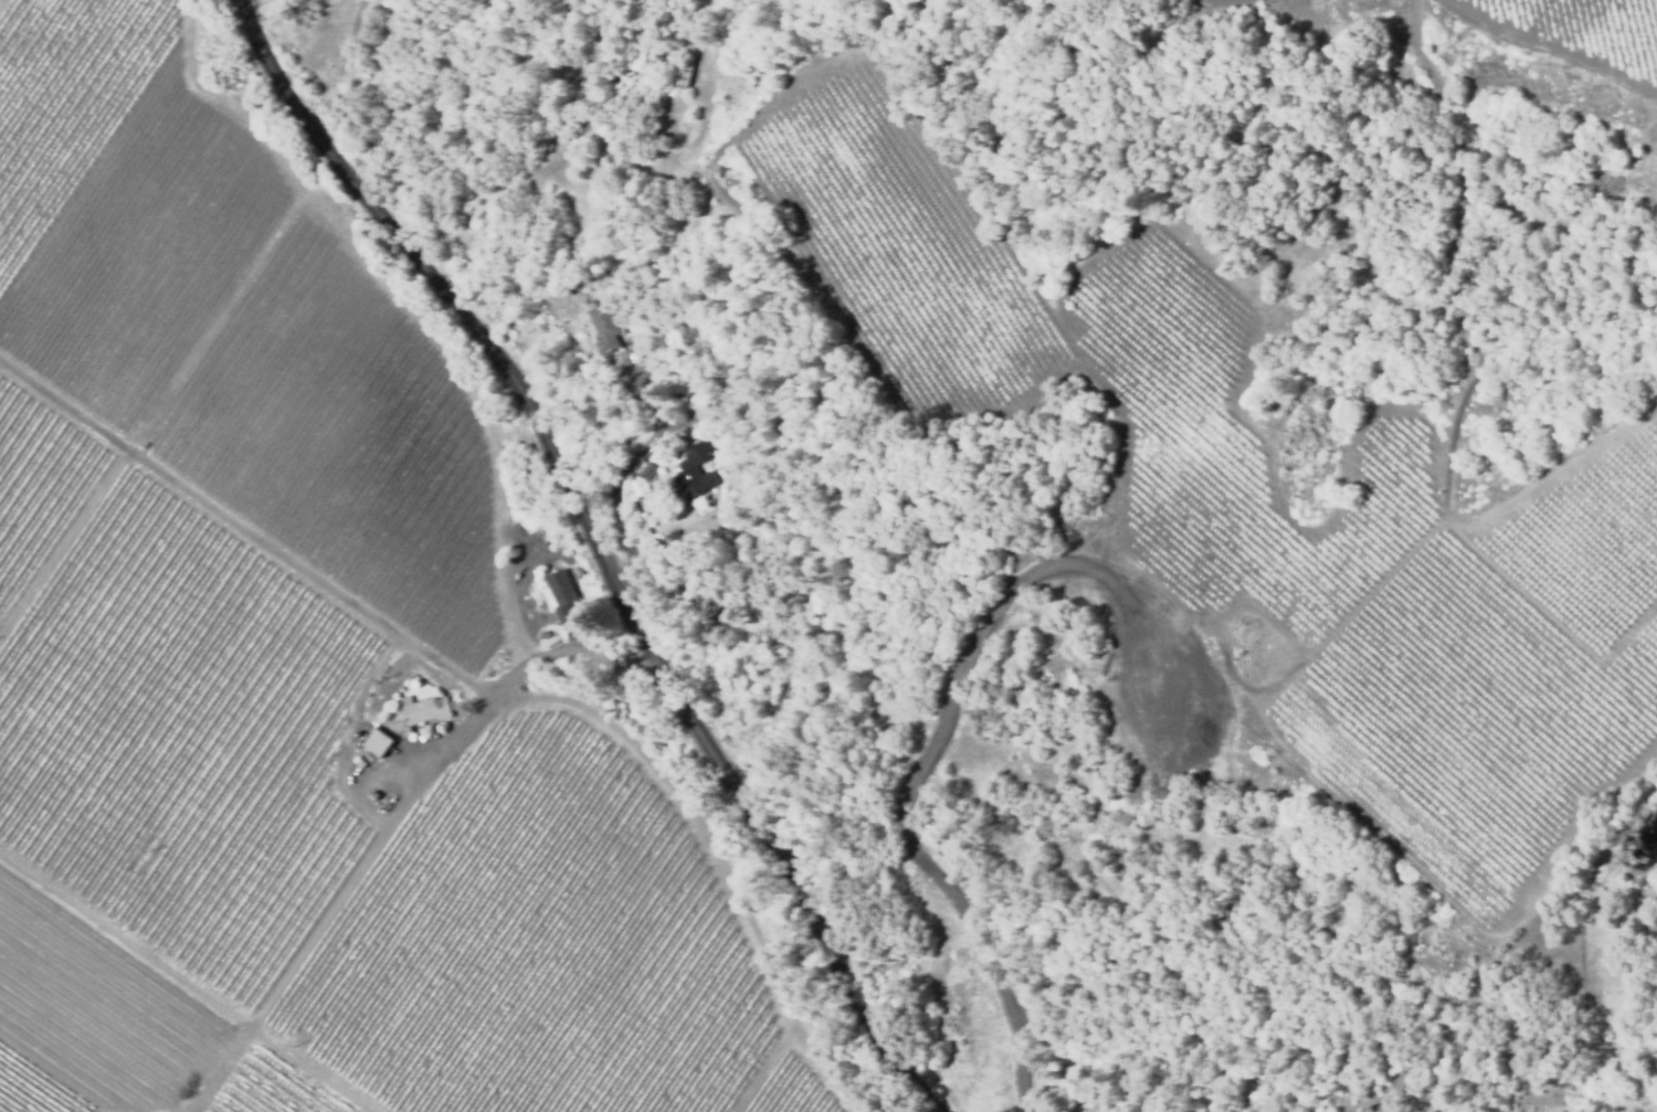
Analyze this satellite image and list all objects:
building: (678, 76)
building: (605, 326)
building: (637, 338)
building: (673, 384)
building: (643, 474)
building: (692, 474)
building: (674, 538)
road: (597, 557)
building: (527, 571)
building: (562, 591)
building: (706, 597)
building: (543, 633)
road: (521, 669)
building: (407, 699)
building: (428, 709)
building: (408, 730)
building: (379, 741)
building: (359, 761)
building: (372, 796)
building: (1236, 817)

